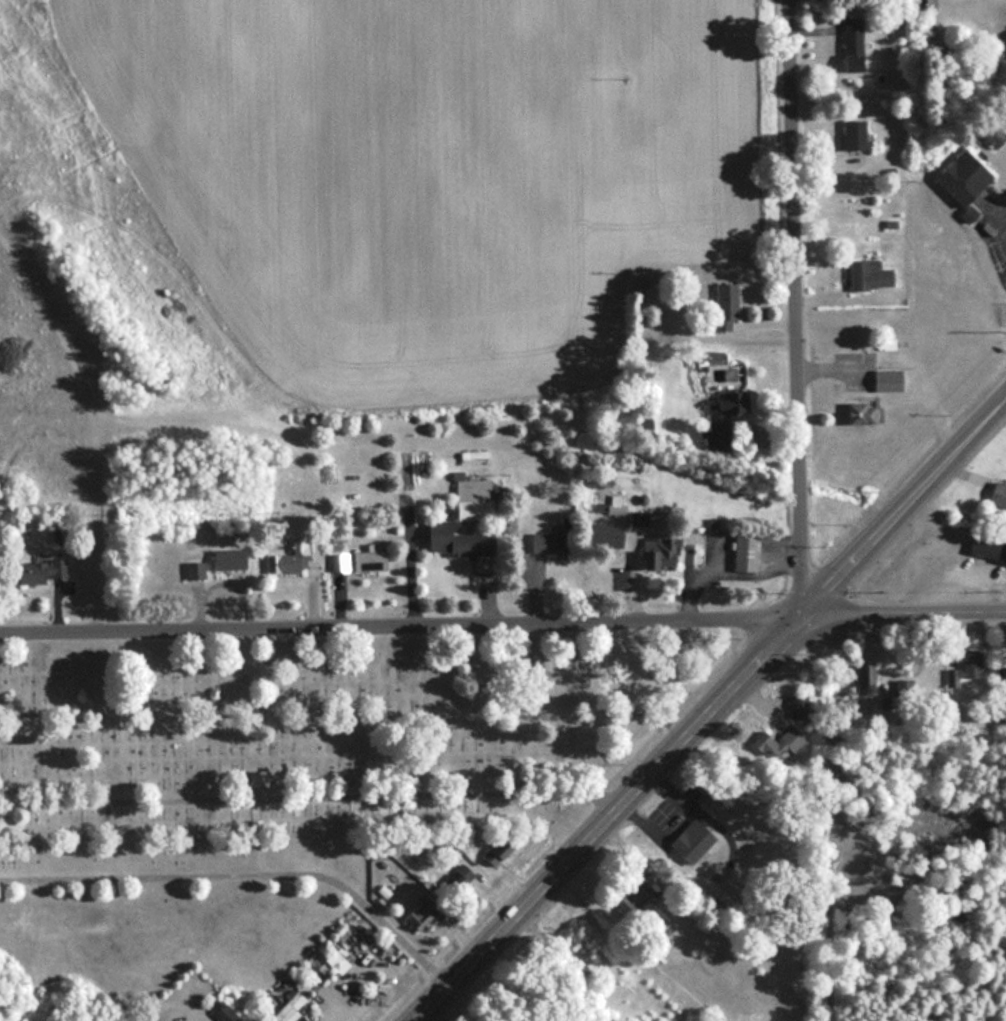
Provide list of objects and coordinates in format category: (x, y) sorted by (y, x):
building: (988, 134)
building: (850, 135)
building: (958, 178)
road: (989, 239)
building: (866, 275)
building: (721, 305)
road: (796, 309)
building: (882, 381)
building: (722, 405)
building: (855, 413)
building: (995, 494)
building: (635, 517)
building: (601, 534)
building: (453, 539)
building: (542, 541)
building: (985, 547)
building: (741, 551)
building: (657, 553)
building: (290, 556)
building: (221, 558)
building: (365, 559)
building: (337, 560)
building: (192, 569)
building: (28, 572)
road: (502, 624)
building: (965, 667)
building: (863, 678)
building: (1002, 679)
building: (904, 686)
road: (710, 709)
road: (345, 724)
building: (785, 742)
park: (281, 780)
road: (313, 805)
road: (665, 810)
road: (721, 826)
building: (687, 842)
building: (492, 851)
building: (418, 912)
building: (286, 1008)

